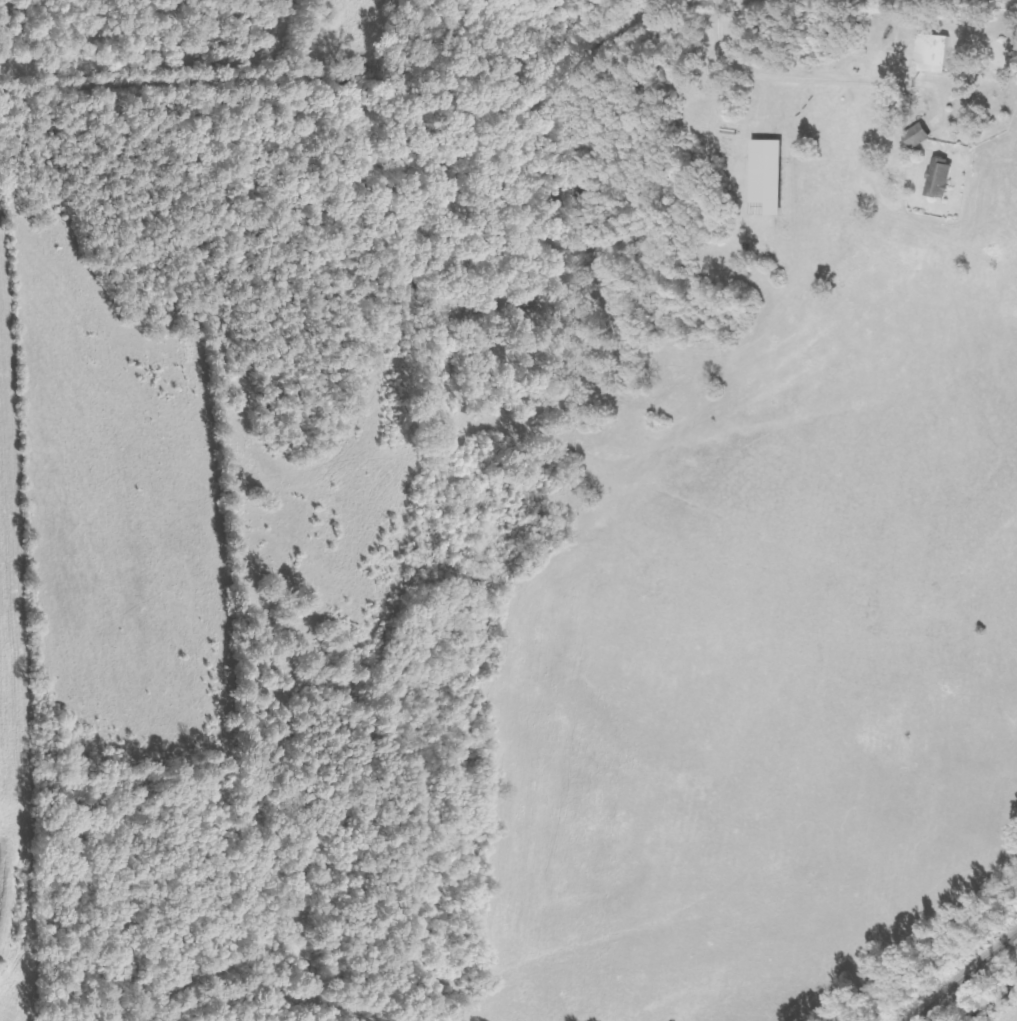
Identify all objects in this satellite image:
building: (931, 53)
building: (916, 135)
building: (939, 177)
railway: (962, 975)

